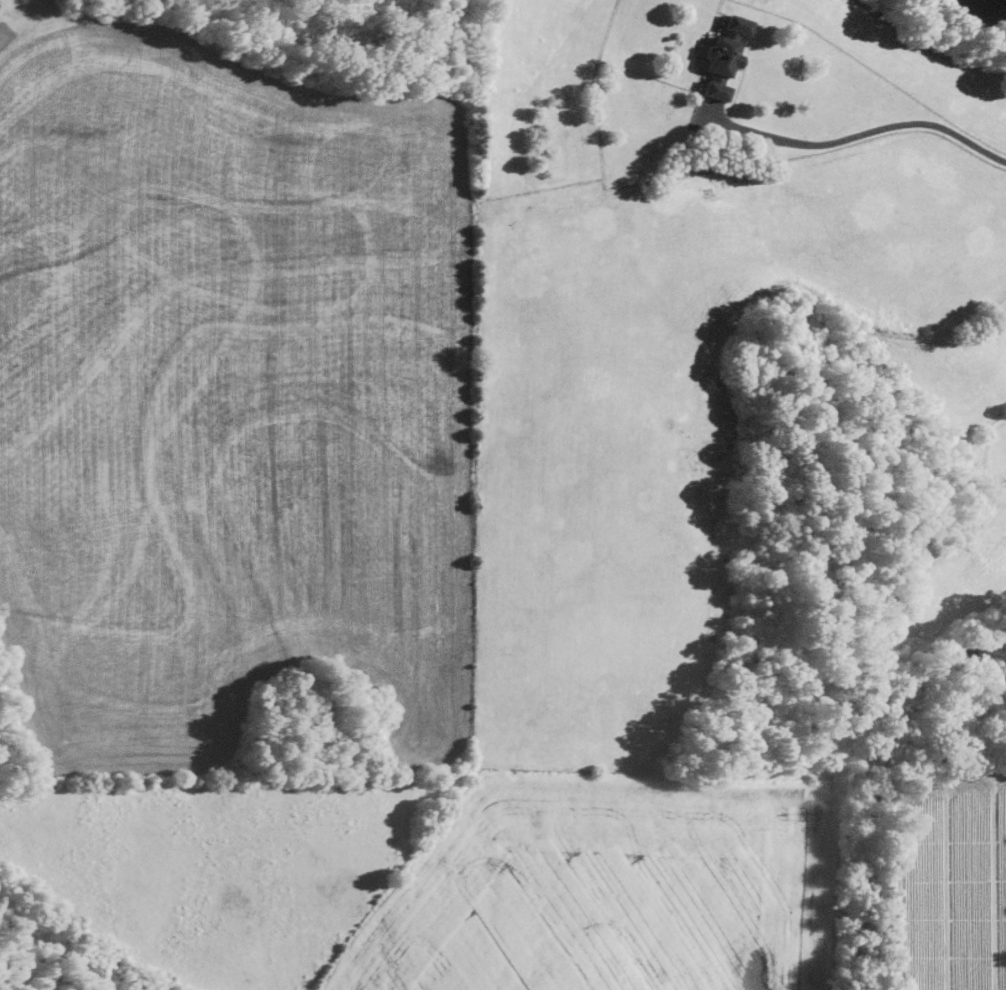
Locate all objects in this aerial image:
building: (721, 55)
road: (855, 135)

